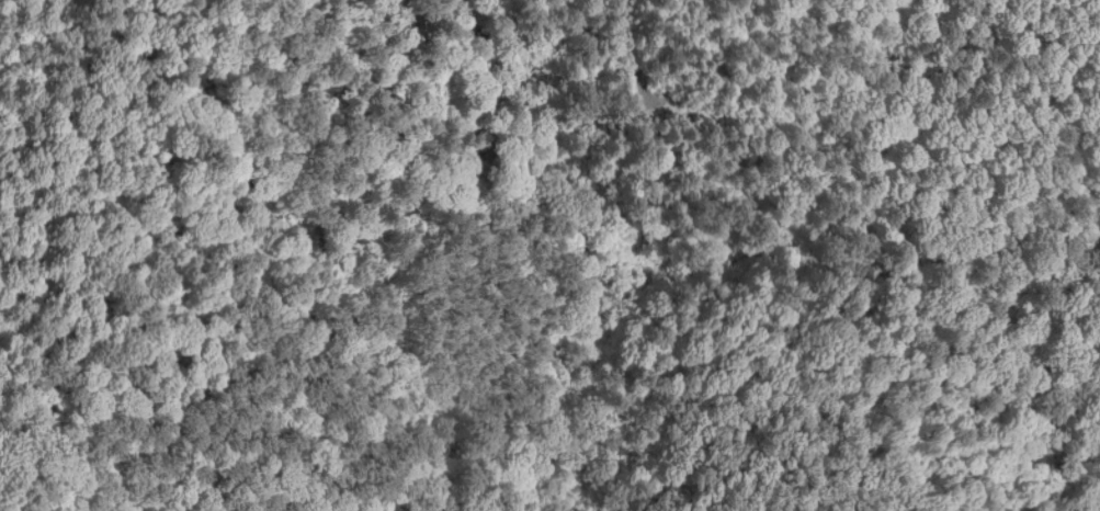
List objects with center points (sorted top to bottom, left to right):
road: (650, 92)

